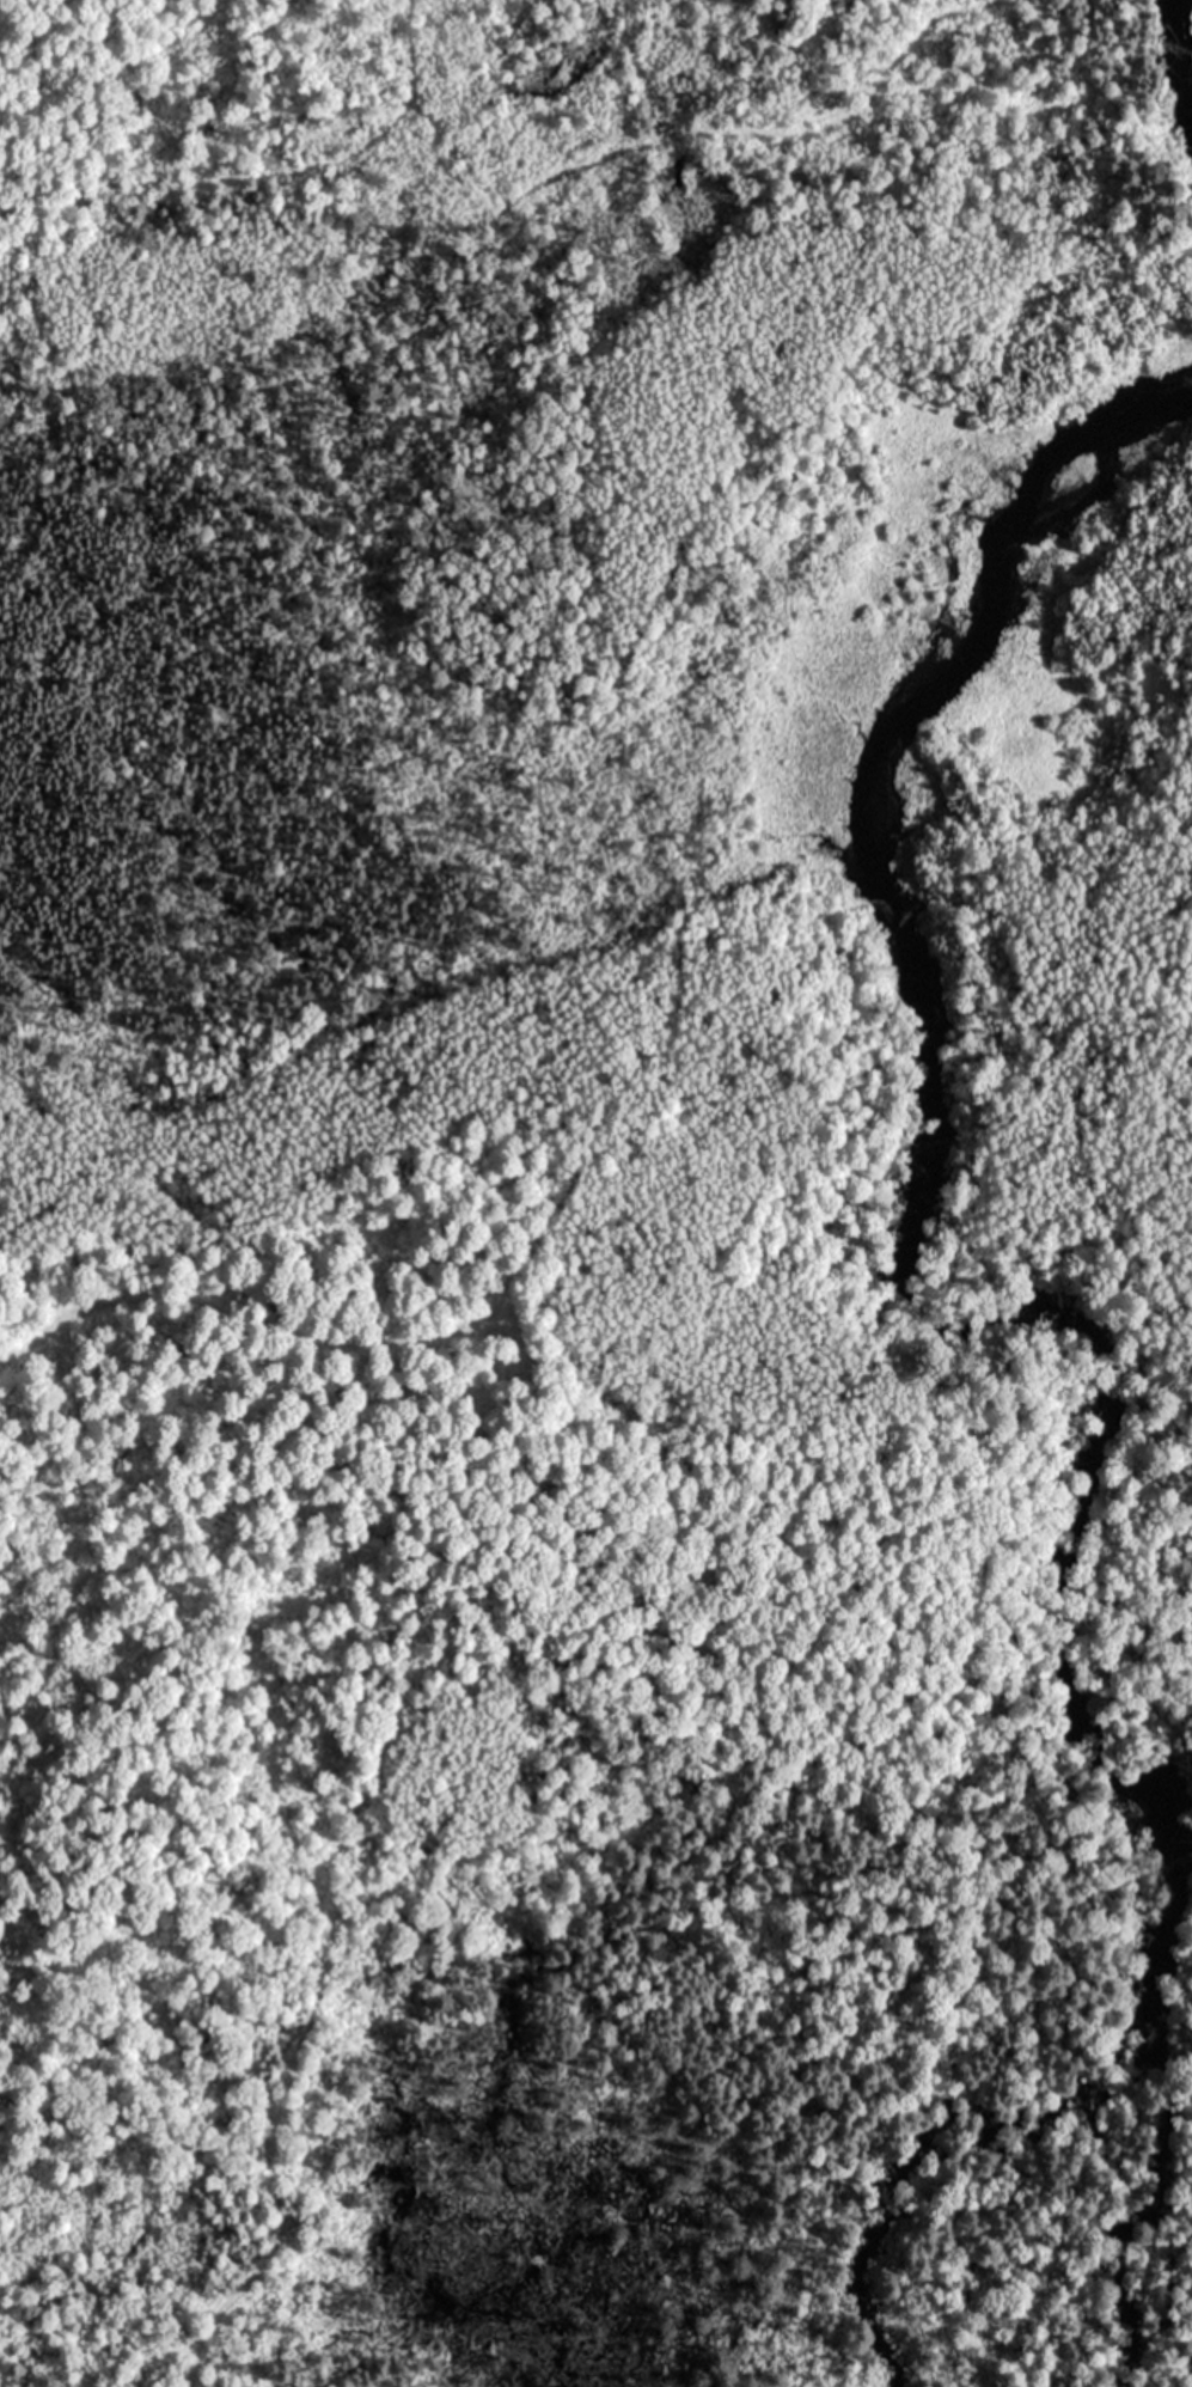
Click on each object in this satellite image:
river: (1179, 37)
river: (1080, 1319)

